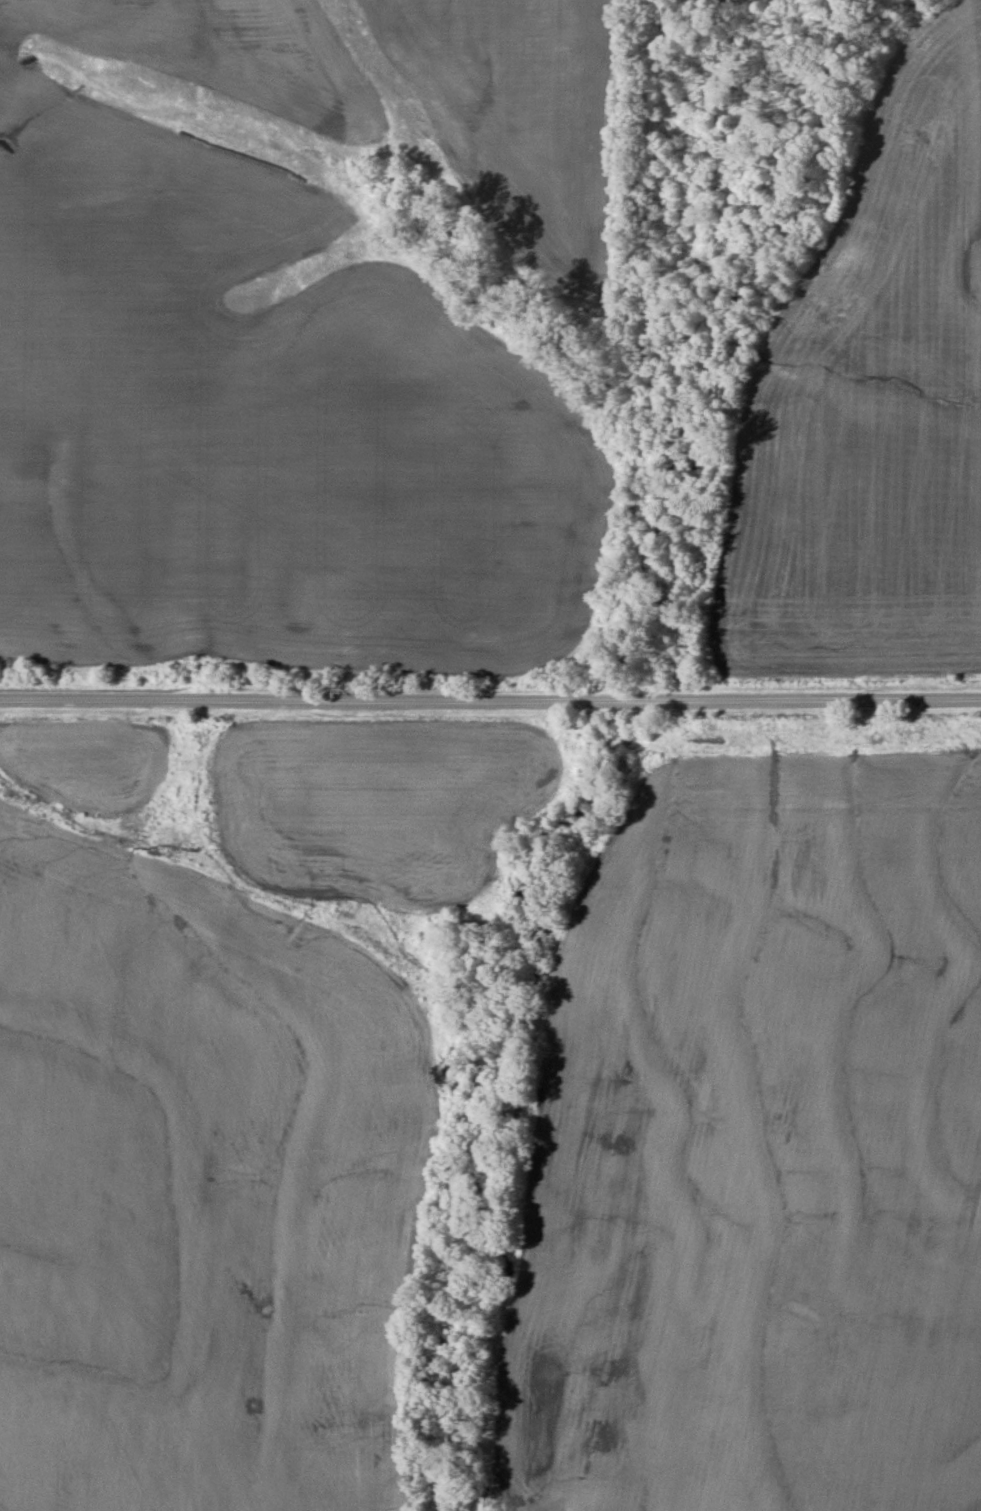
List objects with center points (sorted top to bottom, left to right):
road: (490, 699)

